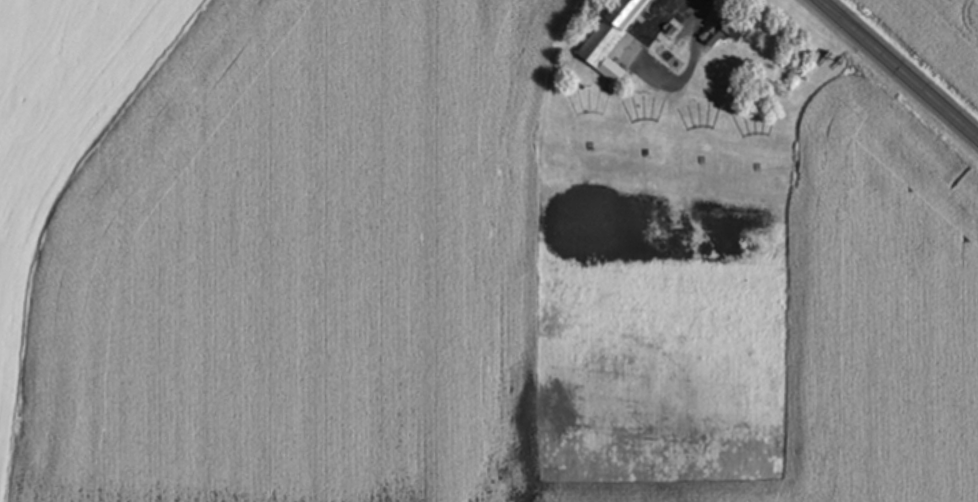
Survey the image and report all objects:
building: (729, 29)
building: (611, 38)
building: (670, 59)
road: (888, 79)

